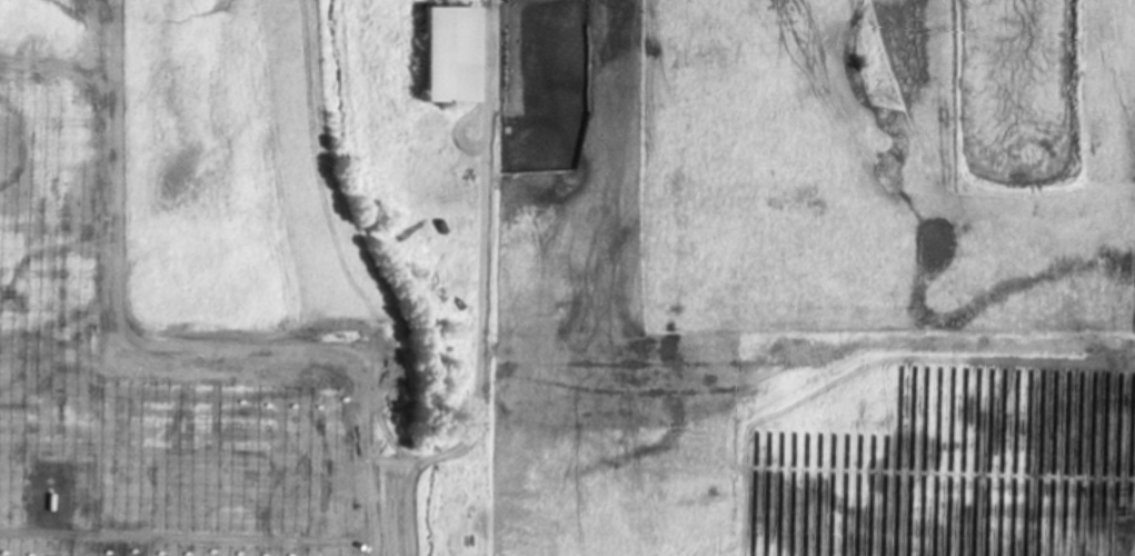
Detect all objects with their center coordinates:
building: (439, 57)
solar farm: (485, 401)

